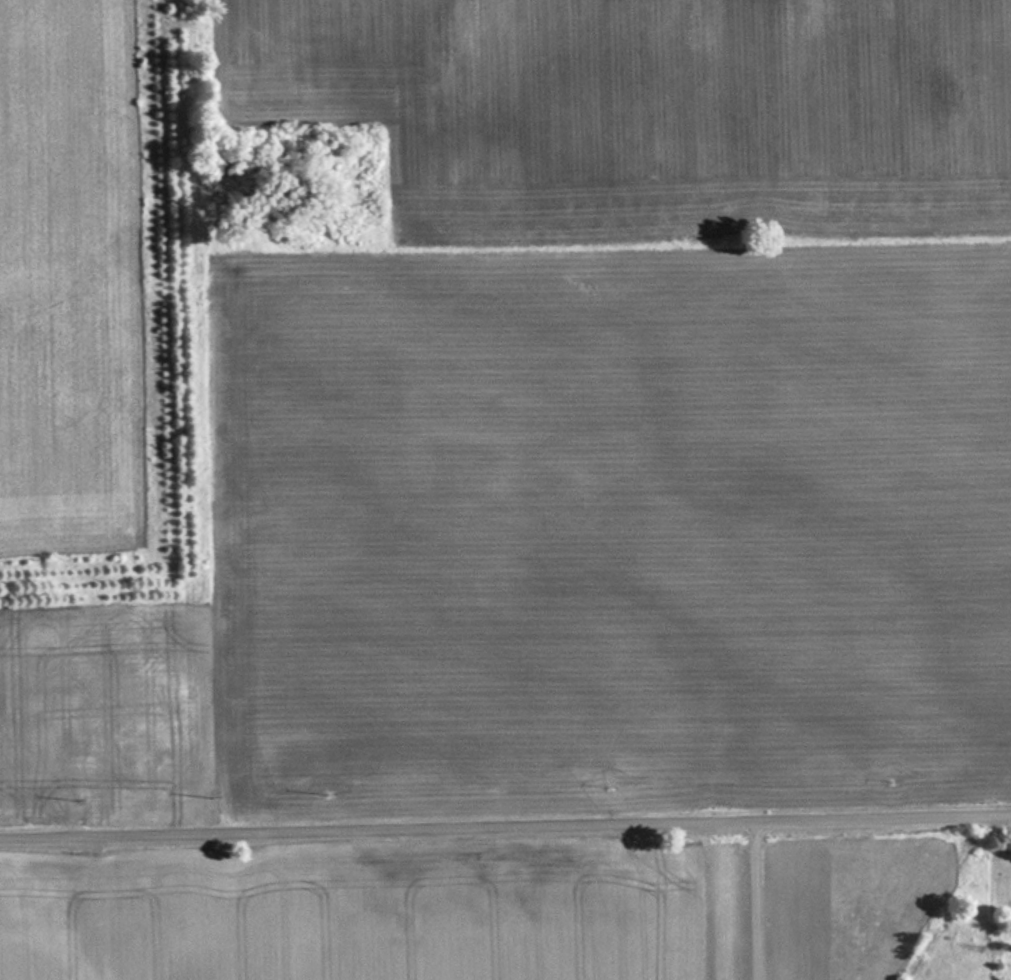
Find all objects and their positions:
building: (44, 754)
building: (165, 779)
road: (505, 829)
building: (413, 840)
road: (752, 902)

